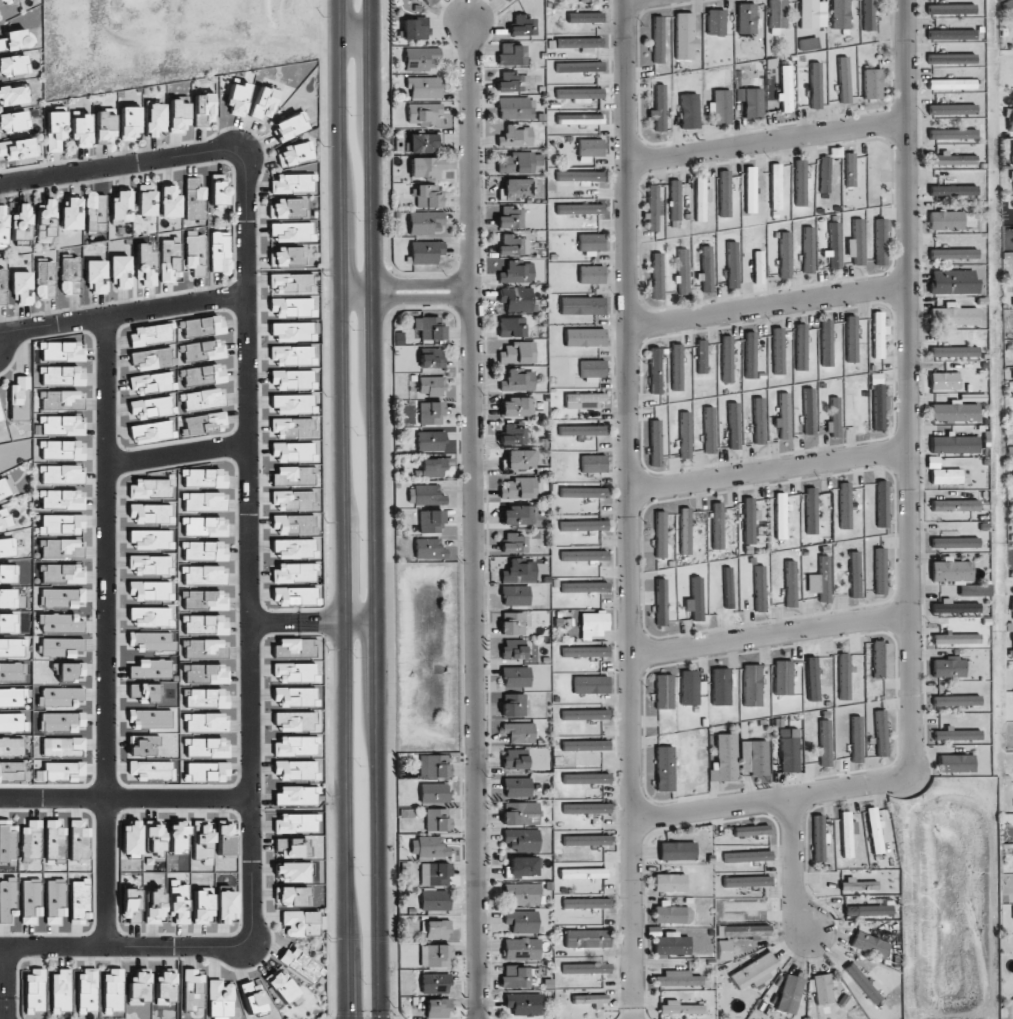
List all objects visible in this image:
building: (509, 0)
building: (4, 1)
building: (951, 9)
building: (1008, 9)
building: (778, 14)
building: (812, 14)
building: (840, 14)
building: (868, 15)
building: (585, 17)
building: (746, 18)
building: (715, 22)
building: (521, 25)
building: (414, 28)
building: (950, 34)
building: (685, 36)
building: (658, 39)
building: (17, 40)
building: (579, 42)
building: (808, 43)
building: (512, 55)
building: (420, 58)
building: (951, 59)
building: (14, 65)
building: (579, 67)
building: (844, 80)
building: (508, 82)
building: (872, 83)
building: (951, 84)
building: (815, 85)
building: (423, 87)
building: (785, 88)
building: (13, 94)
building: (580, 94)
building: (238, 98)
building: (264, 103)
building: (753, 103)
building: (722, 107)
building: (515, 108)
building: (659, 108)
building: (204, 109)
building: (951, 109)
building: (689, 111)
building: (423, 113)
building: (178, 116)
building: (580, 119)
building: (155, 120)
building: (13, 121)
building: (1011, 121)
building: (129, 123)
building: (290, 125)
building: (104, 126)
building: (55, 130)
building: (81, 130)
building: (952, 134)
building: (516, 136)
road: (767, 141)
building: (421, 143)
building: (590, 147)
building: (17, 149)
building: (295, 153)
building: (951, 159)
building: (519, 162)
building: (425, 168)
building: (824, 174)
building: (580, 176)
building: (293, 182)
building: (800, 183)
building: (775, 186)
building: (515, 188)
building: (750, 189)
building: (219, 193)
building: (725, 193)
building: (428, 196)
building: (701, 198)
building: (194, 199)
building: (147, 200)
building: (170, 202)
building: (675, 203)
building: (121, 206)
building: (579, 207)
building: (287, 208)
building: (653, 208)
building: (95, 211)
building: (72, 214)
building: (509, 217)
building: (146, 218)
building: (946, 220)
building: (426, 223)
building: (21, 224)
building: (3, 225)
building: (292, 232)
building: (881, 241)
building: (591, 242)
building: (856, 243)
building: (512, 245)
building: (834, 245)
building: (808, 250)
building: (220, 252)
building: (426, 252)
building: (195, 253)
building: (953, 254)
building: (785, 255)
building: (287, 256)
building: (170, 259)
building: (145, 264)
building: (732, 265)
building: (758, 267)
building: (706, 269)
building: (121, 271)
building: (683, 271)
building: (517, 272)
building: (591, 274)
building: (71, 275)
building: (96, 275)
building: (657, 275)
building: (46, 278)
building: (953, 281)
building: (291, 283)
road: (405, 283)
building: (22, 287)
road: (405, 298)
building: (516, 299)
building: (582, 305)
building: (291, 307)
road: (769, 307)
road: (122, 313)
building: (953, 315)
building: (201, 326)
building: (430, 327)
building: (511, 327)
building: (292, 331)
building: (878, 334)
building: (149, 335)
building: (585, 337)
building: (851, 339)
building: (826, 343)
building: (801, 347)
building: (60, 351)
building: (201, 351)
building: (778, 351)
building: (954, 351)
building: (517, 352)
building: (291, 355)
building: (750, 355)
building: (702, 356)
building: (152, 358)
building: (432, 358)
building: (727, 359)
building: (676, 367)
building: (593, 368)
building: (655, 370)
building: (202, 375)
building: (60, 376)
building: (291, 379)
building: (518, 380)
building: (944, 380)
building: (150, 383)
building: (431, 385)
building: (20, 399)
building: (201, 399)
building: (61, 400)
building: (584, 400)
building: (293, 403)
building: (150, 407)
building: (516, 407)
building: (878, 408)
building: (809, 411)
building: (954, 412)
building: (431, 413)
building: (861, 413)
building: (784, 415)
building: (0, 418)
building: (834, 418)
building: (759, 420)
building: (203, 423)
building: (60, 425)
building: (734, 426)
building: (292, 427)
building: (582, 430)
building: (709, 430)
building: (151, 432)
building: (511, 435)
building: (684, 435)
building: (430, 441)
building: (655, 443)
building: (954, 444)
building: (61, 449)
building: (292, 452)
road: (176, 460)
building: (519, 460)
building: (594, 463)
road: (772, 472)
building: (61, 474)
building: (293, 476)
building: (946, 476)
building: (203, 477)
building: (6, 487)
building: (151, 488)
building: (521, 488)
building: (583, 492)
building: (427, 494)
building: (60, 499)
building: (292, 500)
building: (203, 501)
building: (882, 504)
building: (845, 505)
building: (955, 505)
road: (340, 509)
road: (380, 509)
road: (632, 509)
building: (811, 510)
building: (150, 513)
building: (517, 515)
building: (781, 516)
building: (4, 519)
road: (474, 520)
building: (750, 520)
building: (431, 521)
building: (62, 524)
building: (292, 524)
building: (583, 525)
building: (203, 526)
building: (717, 526)
road: (912, 529)
building: (685, 531)
building: (660, 534)
building: (151, 539)
building: (955, 542)
building: (513, 543)
road: (246, 546)
building: (7, 548)
building: (61, 548)
building: (294, 548)
building: (429, 549)
building: (204, 551)
building: (584, 555)
building: (151, 565)
building: (879, 571)
building: (951, 571)
building: (519, 572)
building: (8, 573)
building: (60, 573)
building: (294, 573)
building: (854, 574)
building: (204, 575)
building: (820, 580)
building: (790, 584)
building: (585, 587)
building: (760, 588)
building: (151, 590)
building: (974, 590)
building: (294, 596)
building: (515, 596)
building: (8, 597)
building: (61, 597)
building: (695, 599)
building: (204, 600)
building: (661, 601)
building: (955, 607)
building: (151, 617)
building: (8, 623)
building: (60, 623)
building: (512, 623)
building: (204, 624)
road: (362, 624)
building: (593, 624)
road: (295, 625)
road: (108, 631)
road: (774, 636)
building: (956, 639)
building: (151, 641)
building: (60, 646)
building: (12, 647)
building: (295, 647)
building: (204, 648)
building: (512, 650)
building: (585, 651)
building: (881, 660)
building: (951, 667)
building: (152, 668)
building: (12, 672)
building: (70, 672)
building: (294, 672)
building: (204, 673)
building: (516, 676)
building: (844, 676)
building: (783, 677)
building: (812, 679)
building: (591, 684)
building: (752, 685)
building: (721, 686)
building: (691, 687)
building: (664, 691)
building: (146, 692)
building: (61, 696)
building: (296, 696)
building: (12, 697)
building: (205, 698)
building: (956, 700)
building: (513, 705)
building: (585, 714)
building: (150, 719)
building: (296, 721)
building: (12, 722)
building: (62, 722)
building: (205, 722)
building: (519, 732)
building: (880, 733)
building: (958, 734)
building: (856, 739)
building: (825, 743)
building: (144, 745)
building: (585, 745)
building: (296, 746)
building: (11, 747)
building: (62, 747)
building: (205, 747)
building: (790, 752)
building: (754, 757)
building: (515, 759)
building: (724, 759)
building: (955, 763)
building: (433, 766)
building: (664, 768)
building: (150, 770)
building: (295, 770)
building: (13, 771)
building: (63, 771)
building: (206, 771)
building: (586, 778)
building: (516, 787)
building: (433, 793)
building: (296, 795)
road: (125, 800)
building: (586, 808)
building: (520, 813)
building: (437, 819)
building: (297, 823)
building: (751, 830)
building: (875, 831)
building: (847, 833)
building: (178, 837)
building: (225, 837)
building: (131, 838)
building: (818, 838)
building: (31, 839)
building: (55, 839)
building: (79, 839)
building: (155, 839)
building: (520, 840)
building: (586, 840)
building: (7, 841)
building: (202, 841)
building: (292, 847)
building: (429, 847)
building: (676, 851)
building: (747, 856)
building: (525, 866)
road: (794, 866)
building: (291, 872)
building: (583, 873)
building: (434, 874)
building: (747, 881)
building: (670, 883)
building: (859, 885)
building: (521, 894)
building: (293, 896)
building: (8, 899)
building: (80, 899)
building: (31, 900)
building: (434, 900)
building: (55, 901)
building: (178, 902)
building: (587, 903)
building: (131, 904)
building: (155, 905)
building: (202, 905)
building: (226, 906)
building: (747, 906)
building: (868, 910)
building: (672, 915)
building: (521, 921)
building: (304, 922)
building: (436, 930)
building: (744, 931)
building: (587, 938)
building: (672, 944)
building: (870, 945)
road: (2, 947)
building: (521, 948)
building: (725, 950)
building: (435, 955)
building: (302, 965)
building: (586, 968)
building: (754, 971)
building: (515, 976)
building: (677, 979)
road: (5, 983)
building: (435, 983)
building: (862, 983)
building: (138, 986)
building: (282, 986)
building: (164, 988)
building: (822, 989)
building: (86, 990)
building: (112, 990)
building: (60, 991)
building: (193, 991)
building: (790, 993)
building: (33, 994)
building: (253, 997)
building: (220, 999)
building: (590, 999)
building: (523, 1004)
building: (437, 1008)
building: (679, 1008)

